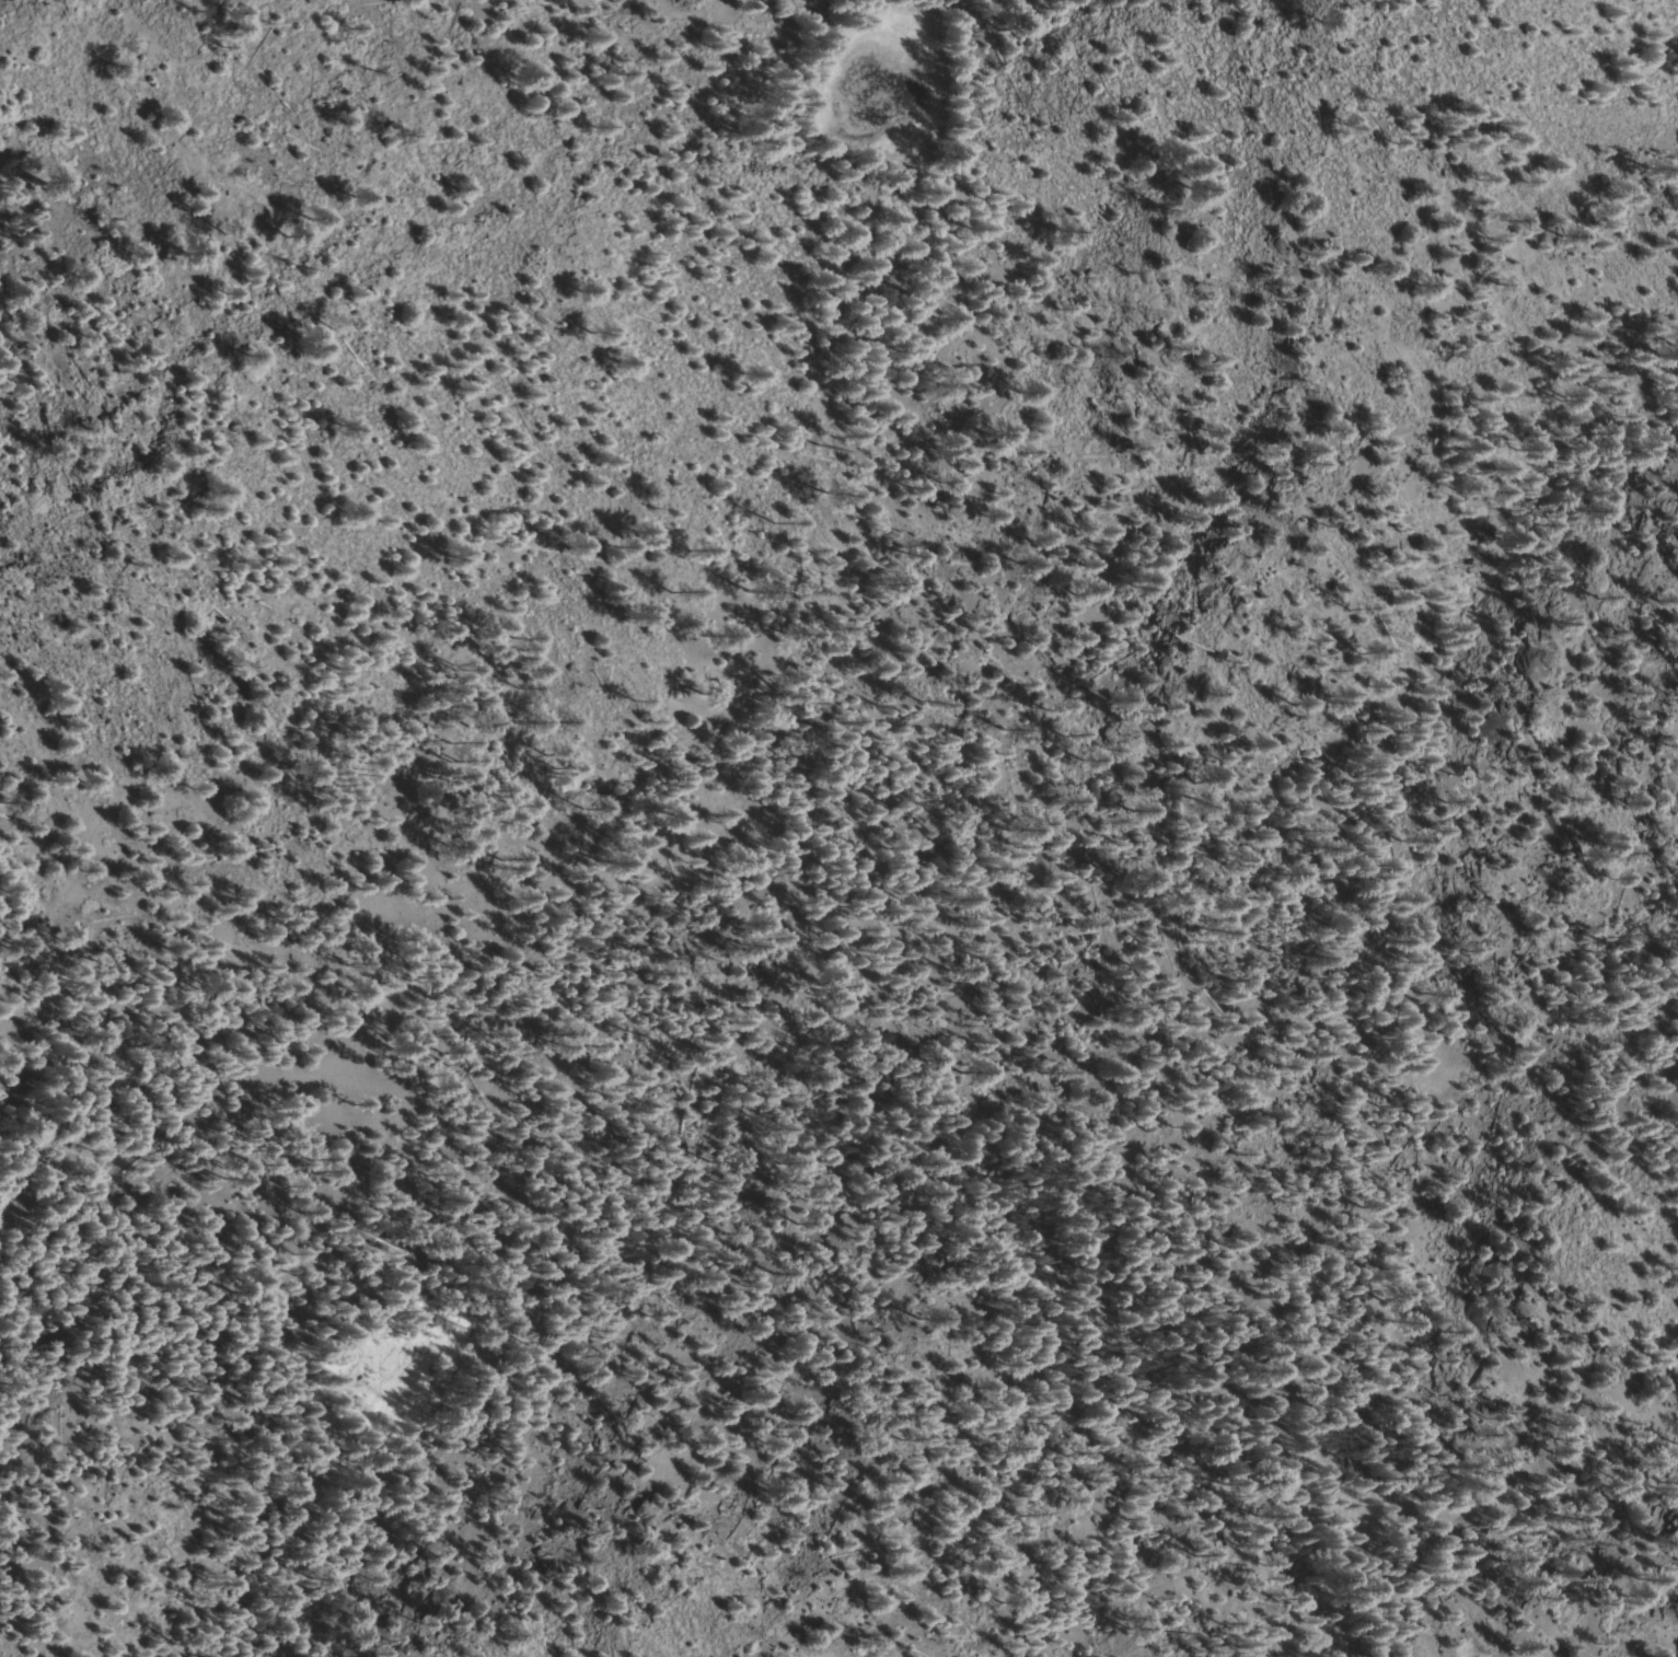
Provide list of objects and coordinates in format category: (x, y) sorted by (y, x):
road: (801, 1081)

